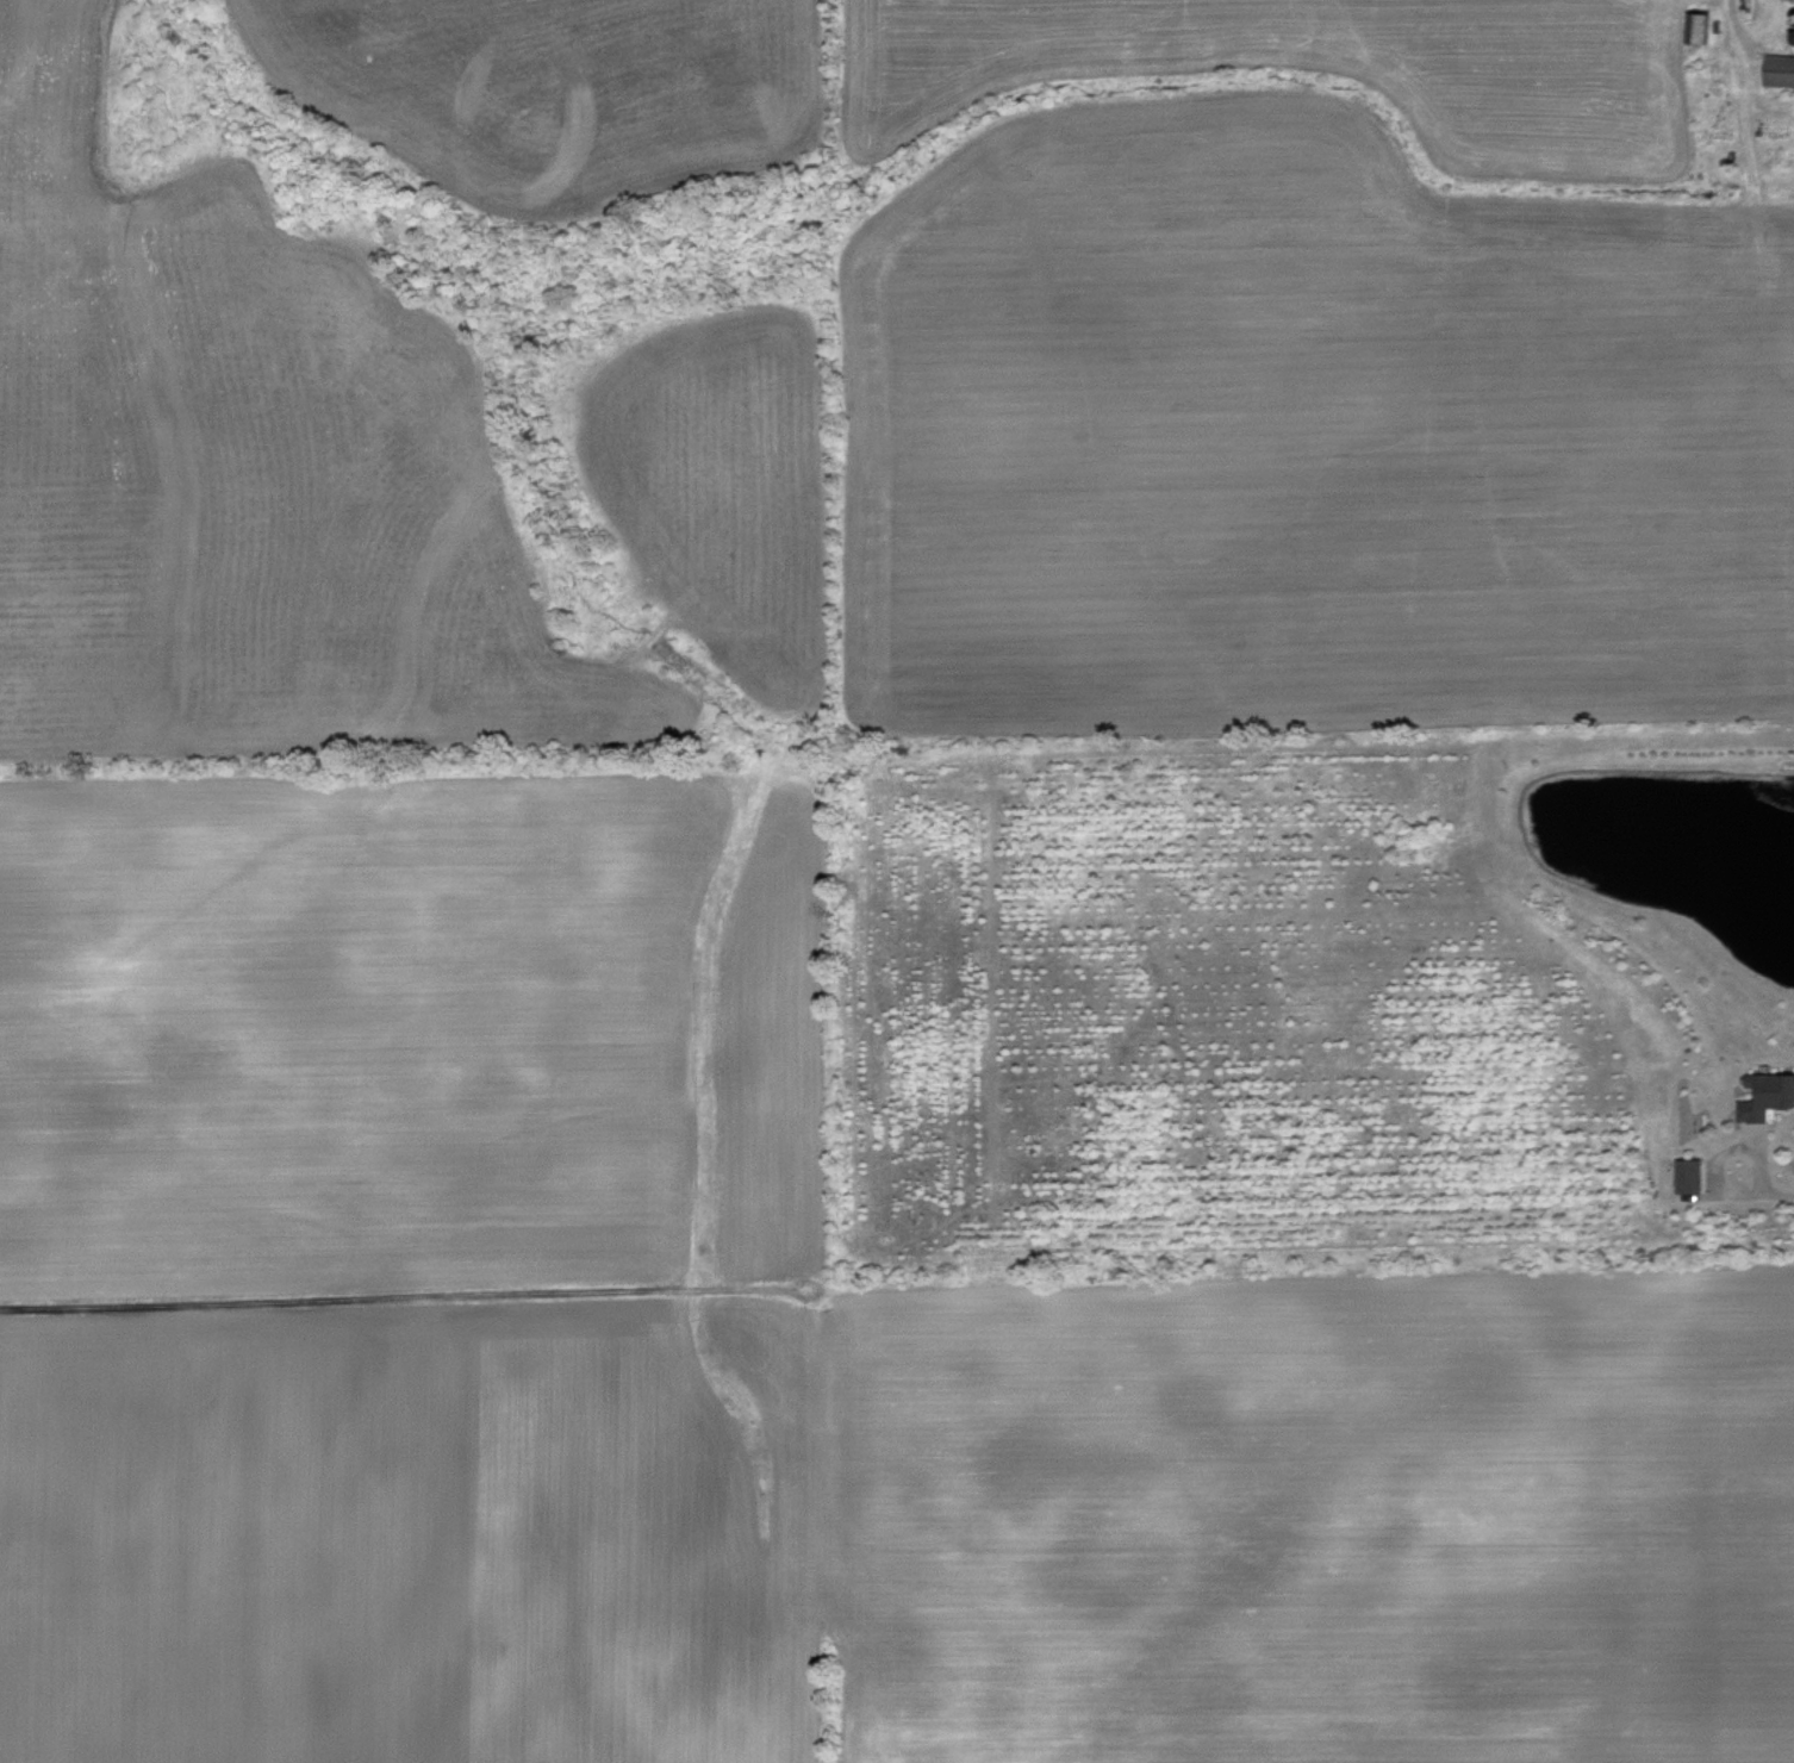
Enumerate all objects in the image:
building: (1695, 25)
building: (1777, 68)
building: (1765, 1094)
road: (1756, 1167)
building: (1686, 1173)

